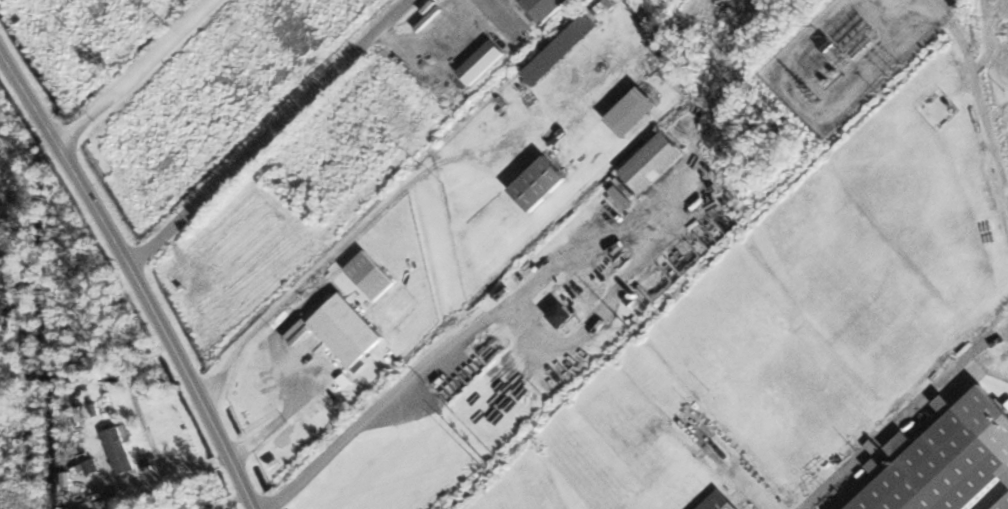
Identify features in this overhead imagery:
building: (520, 18)
building: (832, 44)
building: (566, 50)
road: (136, 72)
building: (640, 112)
building: (660, 162)
building: (545, 185)
road: (135, 274)
building: (569, 315)
building: (353, 329)
building: (124, 451)
building: (97, 468)
building: (948, 470)
building: (725, 502)
building: (1007, 506)

